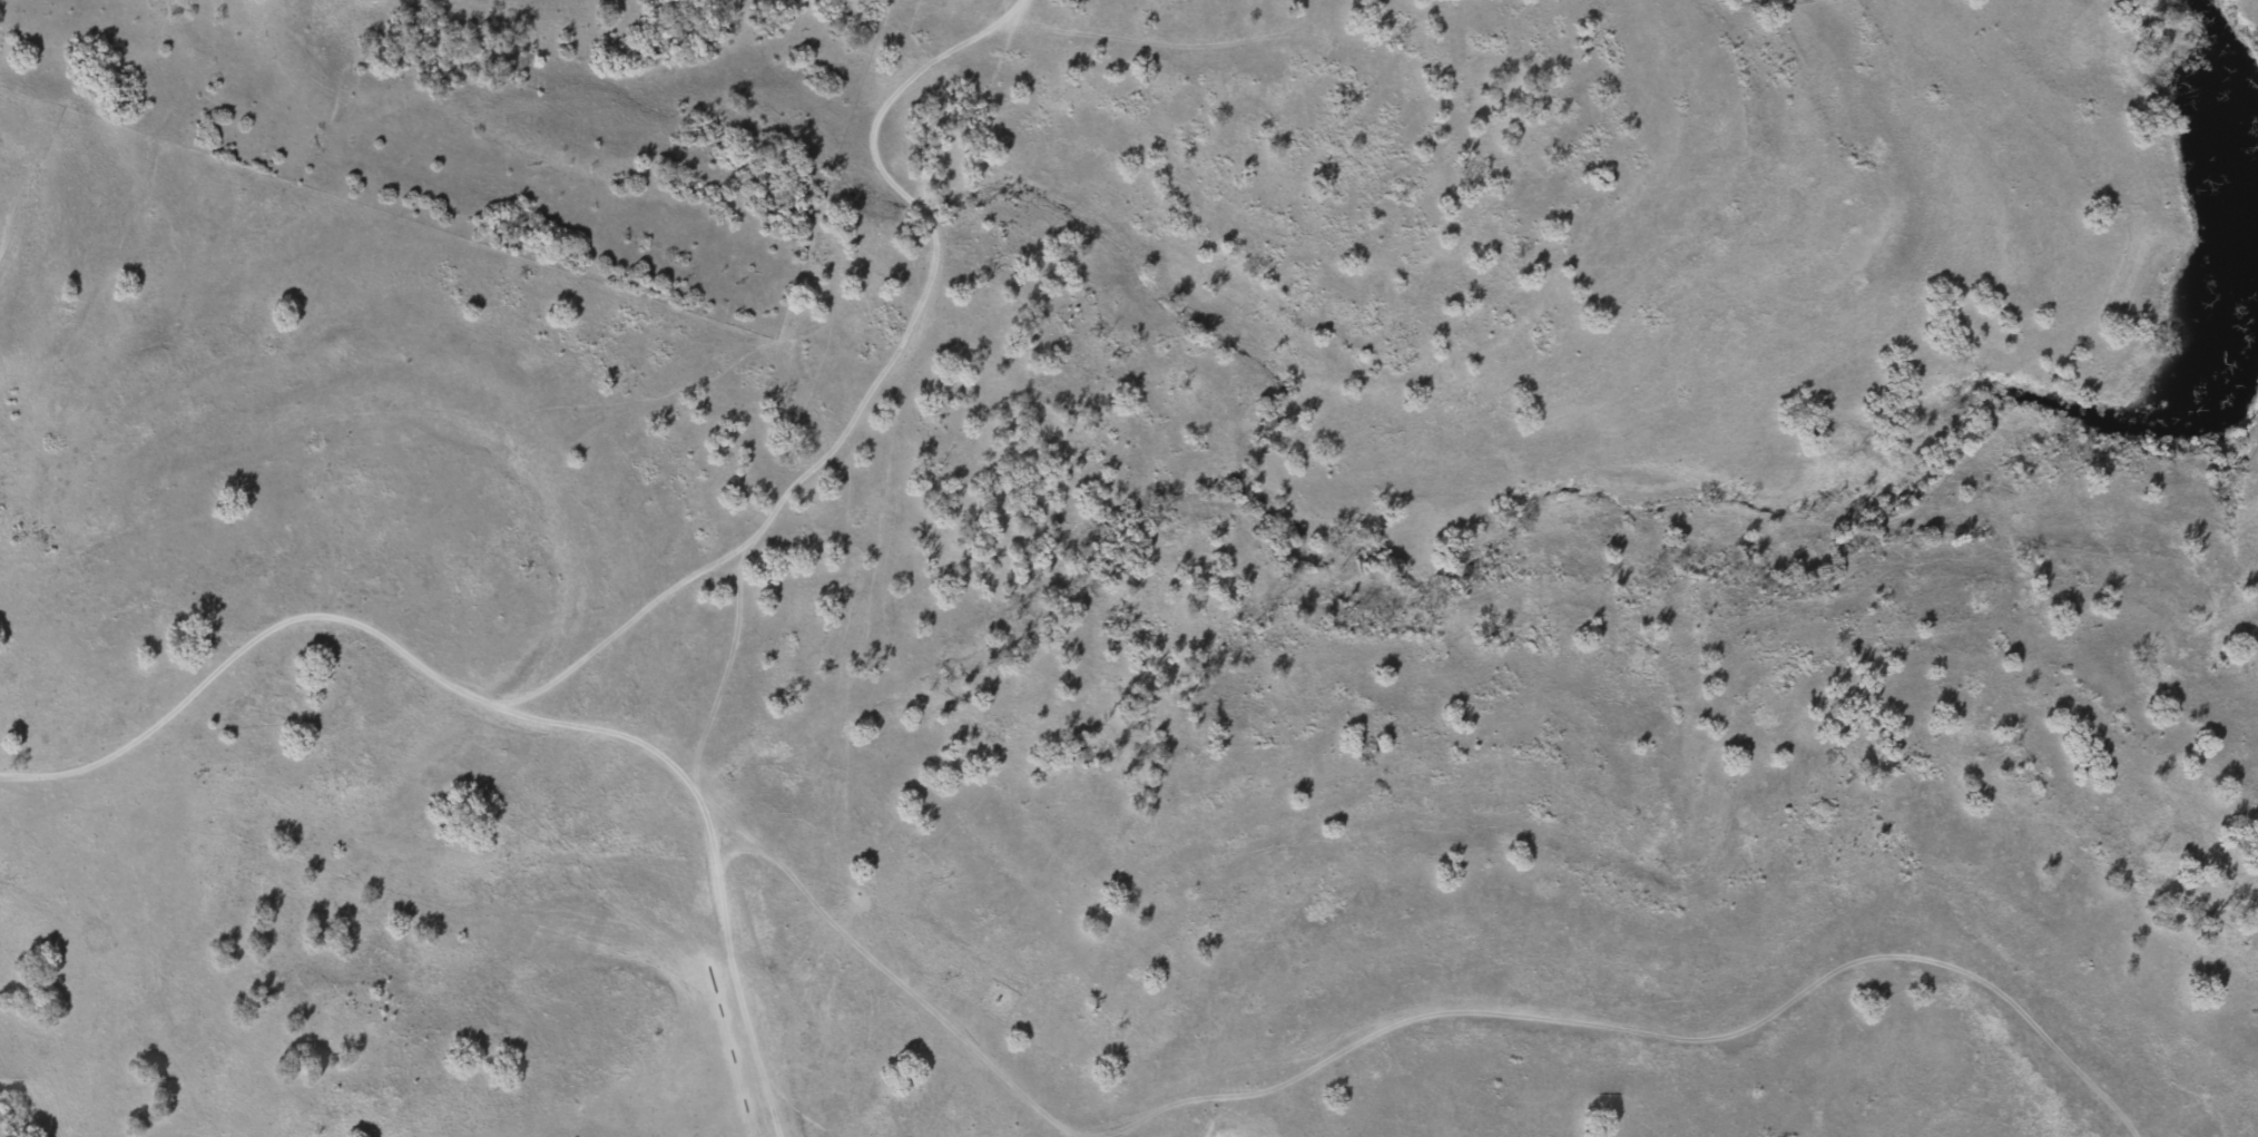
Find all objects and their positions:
road: (415, 646)

